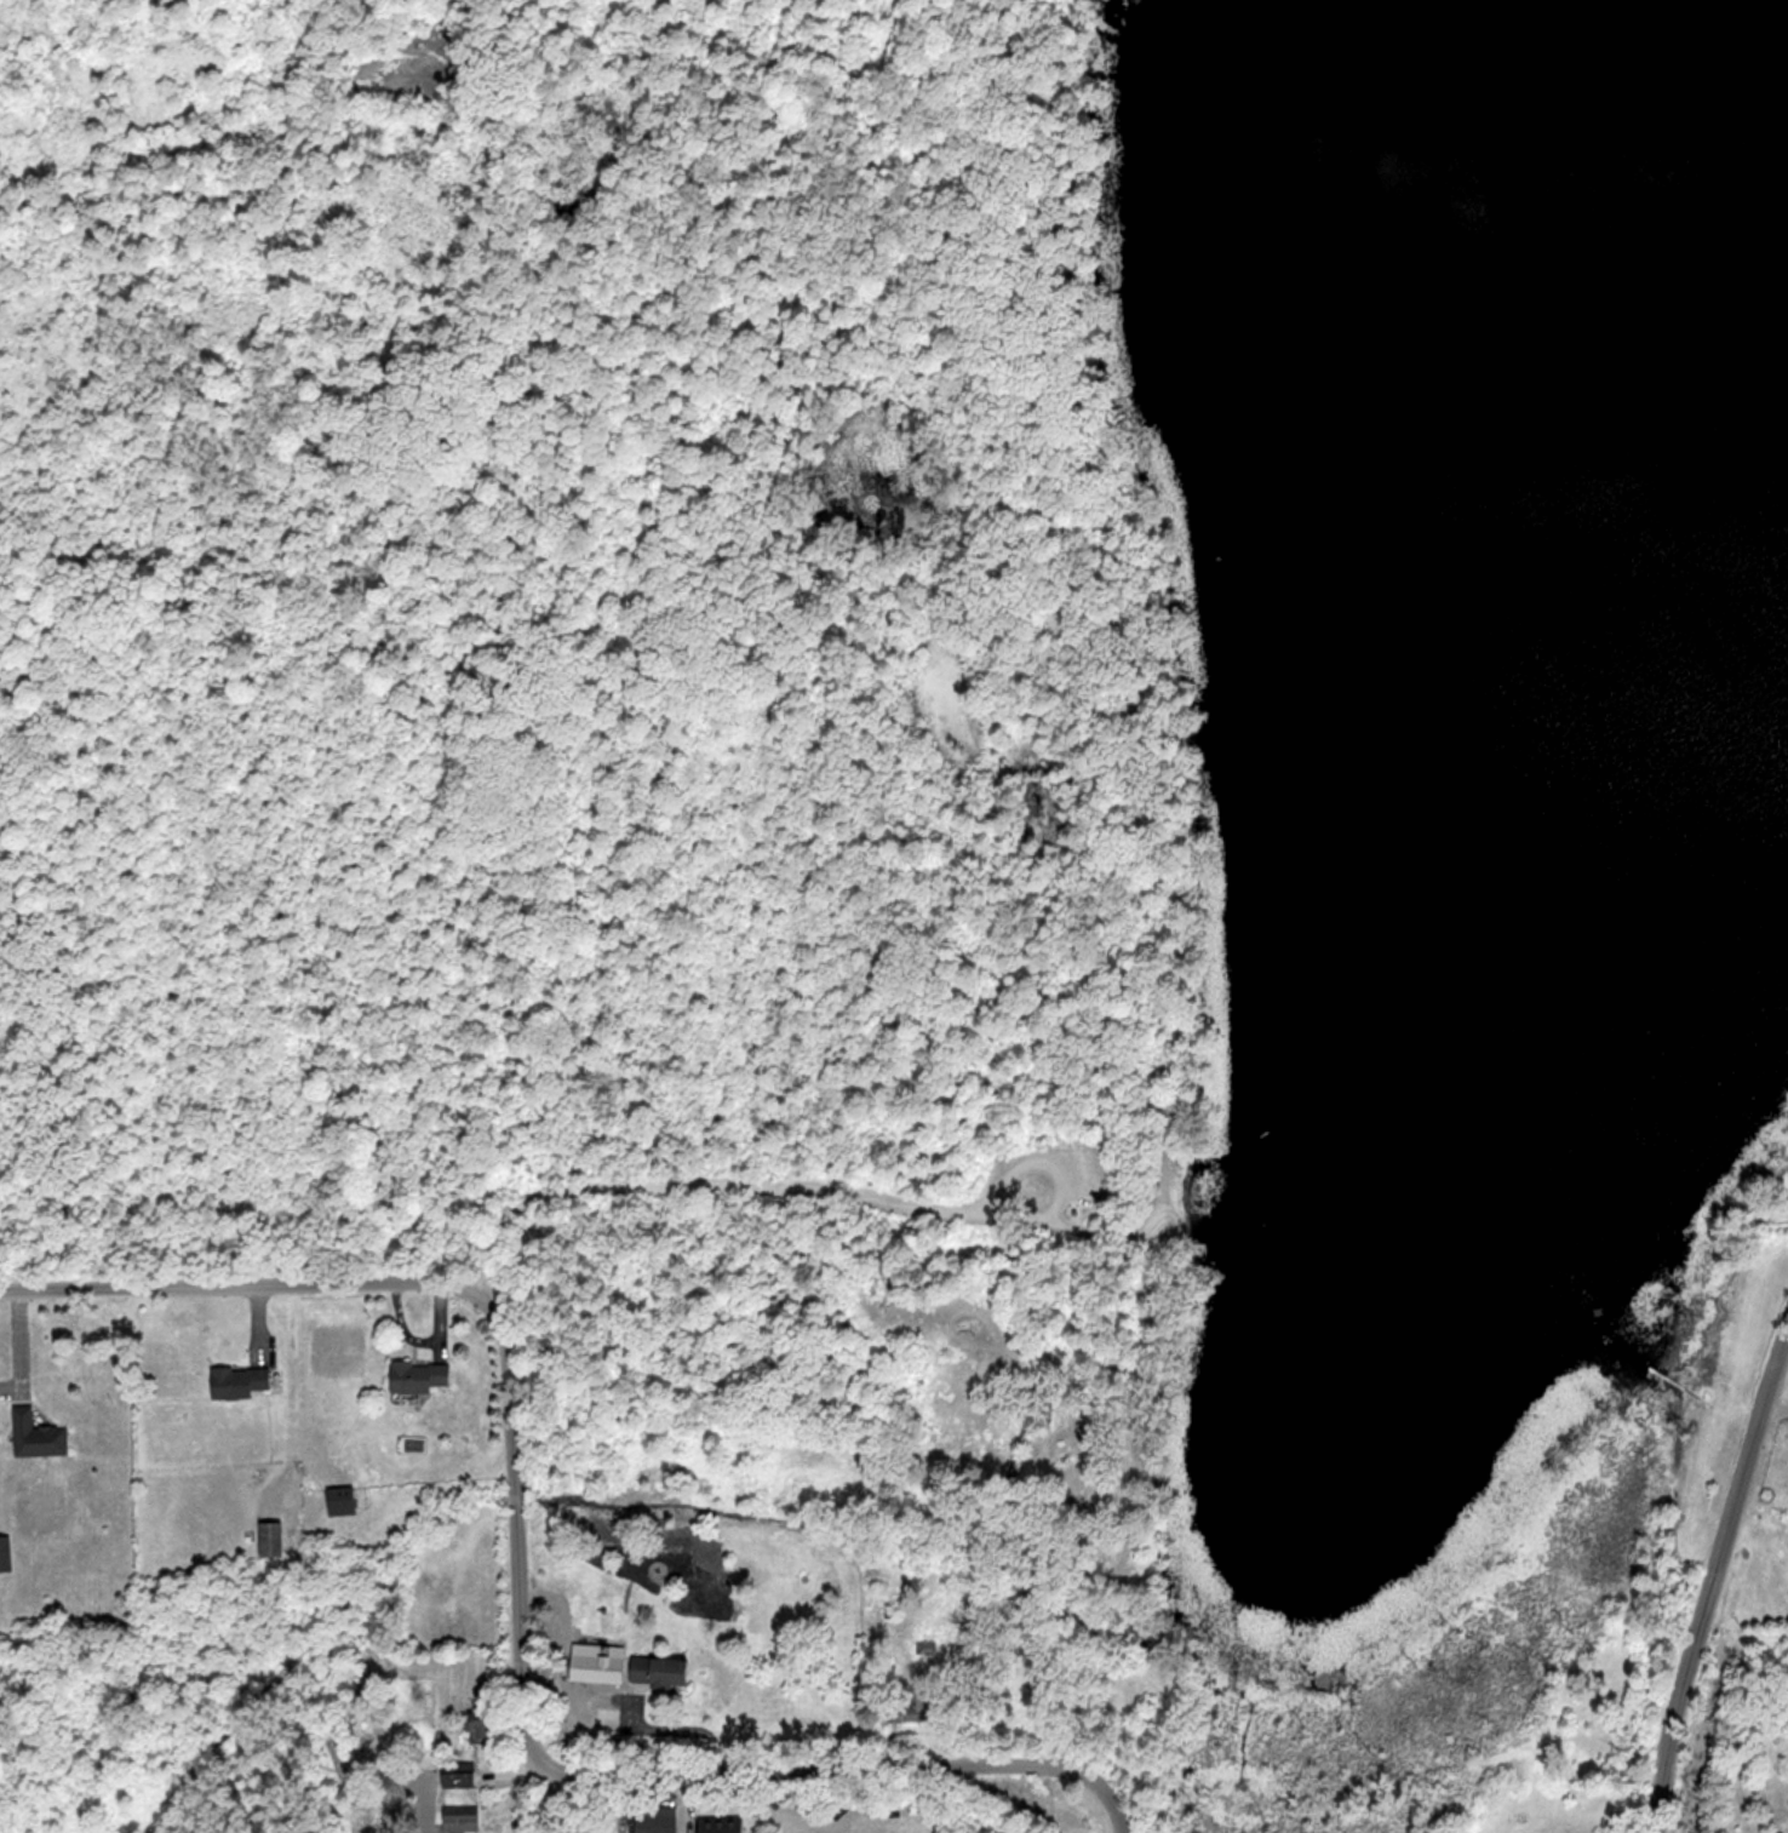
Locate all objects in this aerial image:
park: (573, 646)
road: (1036, 1161)
road: (802, 1193)
building: (1078, 1210)
road: (239, 1282)
building: (423, 1376)
building: (242, 1382)
road: (293, 1385)
road: (1771, 1407)
building: (1042, 1408)
building: (40, 1434)
building: (344, 1501)
building: (274, 1539)
building: (6, 1554)
road: (1713, 1574)
building: (661, 1671)
building: (919, 1705)
building: (486, 1726)
road: (681, 1729)
building: (462, 1778)
road: (590, 1778)
building: (462, 1817)
building: (657, 1818)
building: (724, 1826)

